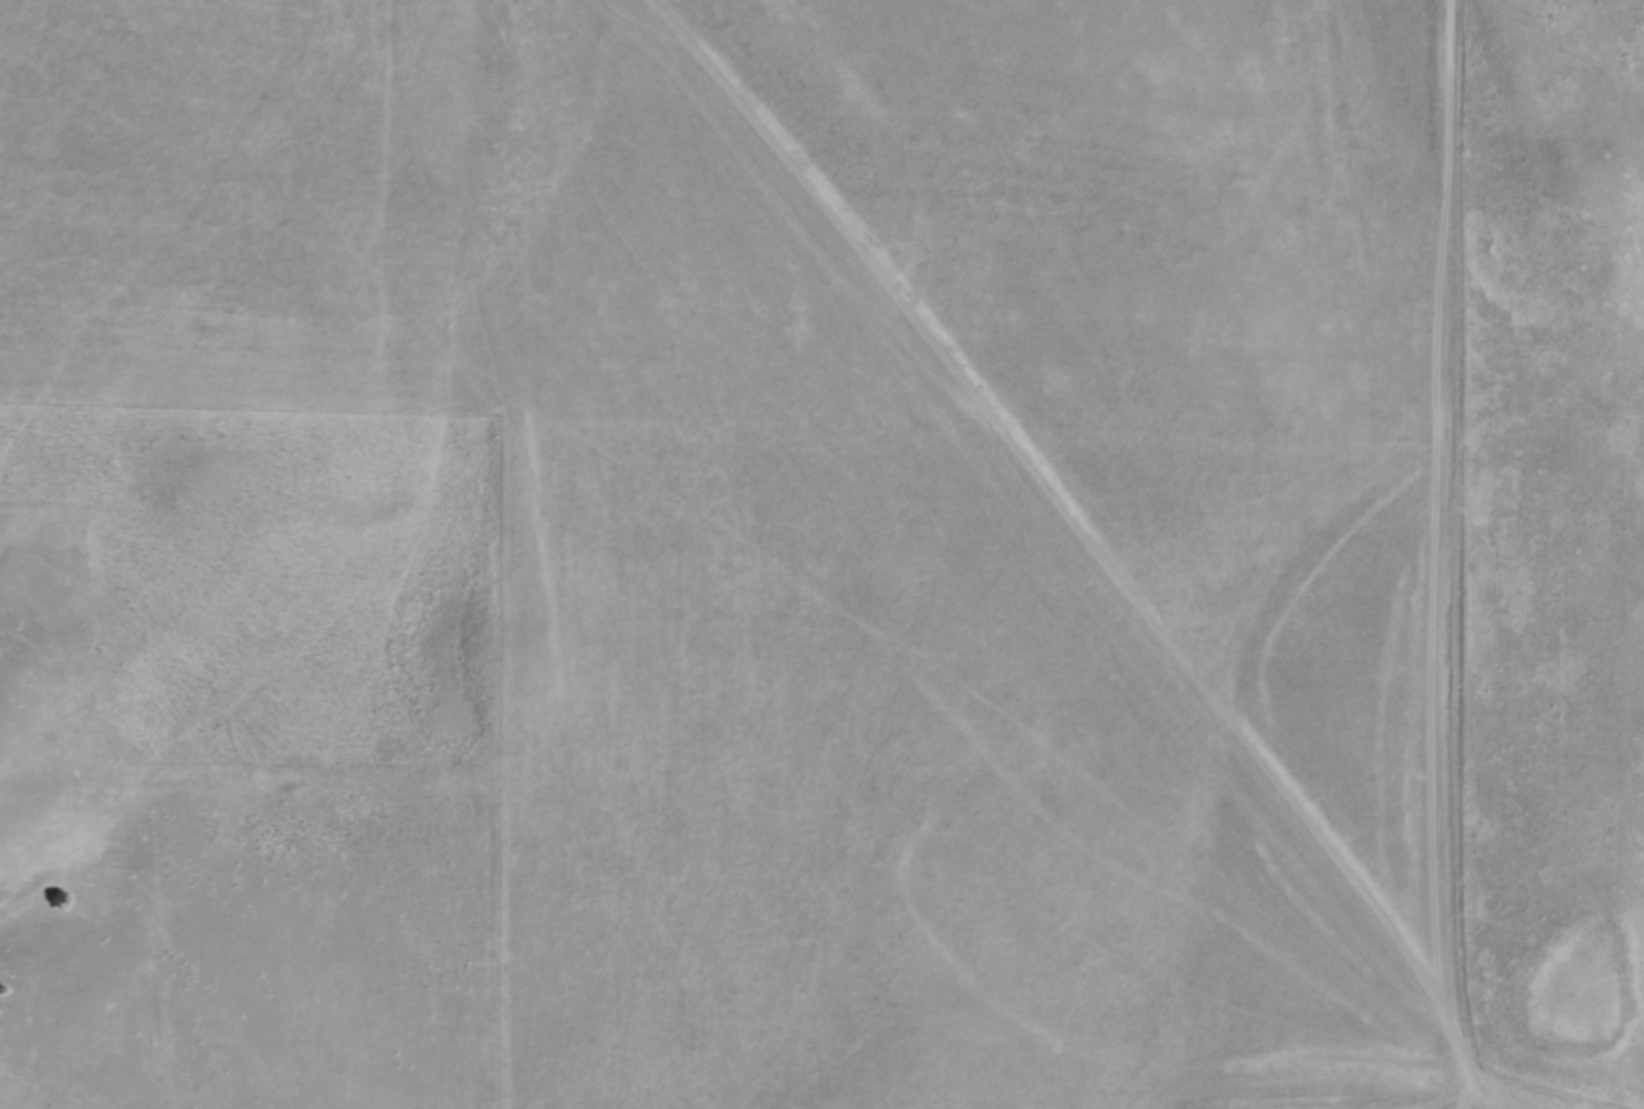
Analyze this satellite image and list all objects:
road: (1449, 555)

